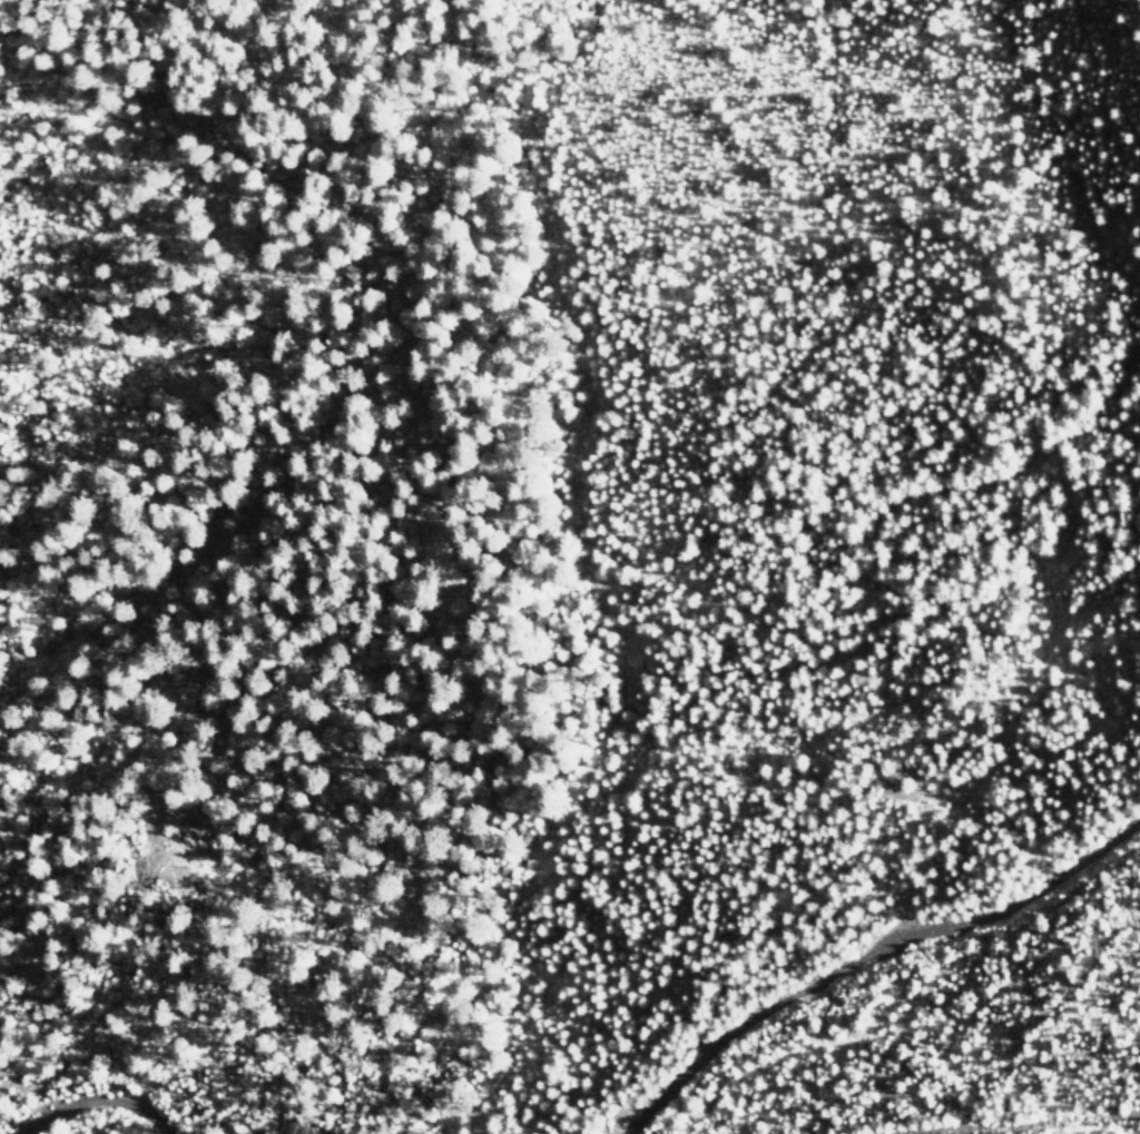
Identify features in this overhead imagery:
road: (865, 965)
road: (92, 1102)

